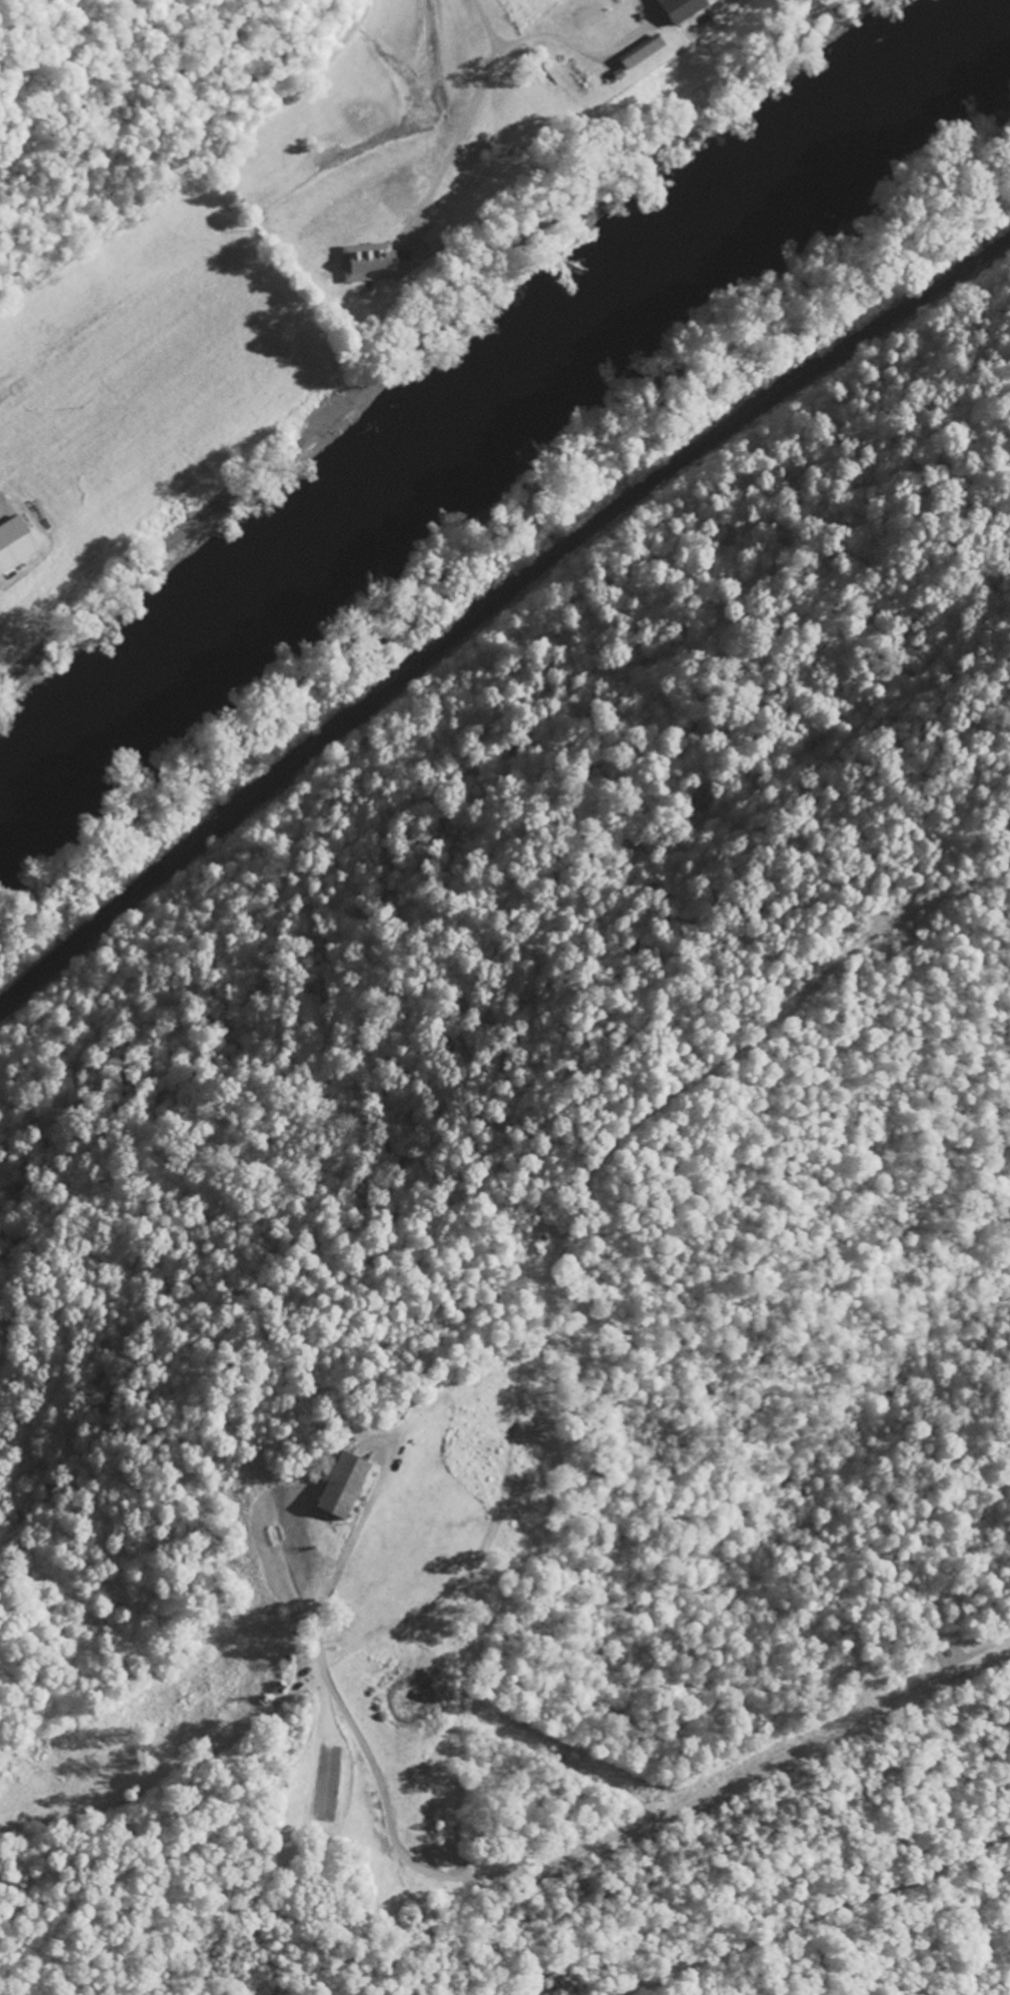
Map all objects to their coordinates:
building: (677, 9)
building: (653, 11)
road: (341, 49)
building: (638, 53)
road: (149, 122)
road: (140, 140)
building: (427, 235)
building: (367, 264)
river: (497, 393)
building: (13, 543)
railway: (492, 610)
building: (333, 1487)
road: (508, 1870)
road: (815, 1917)

